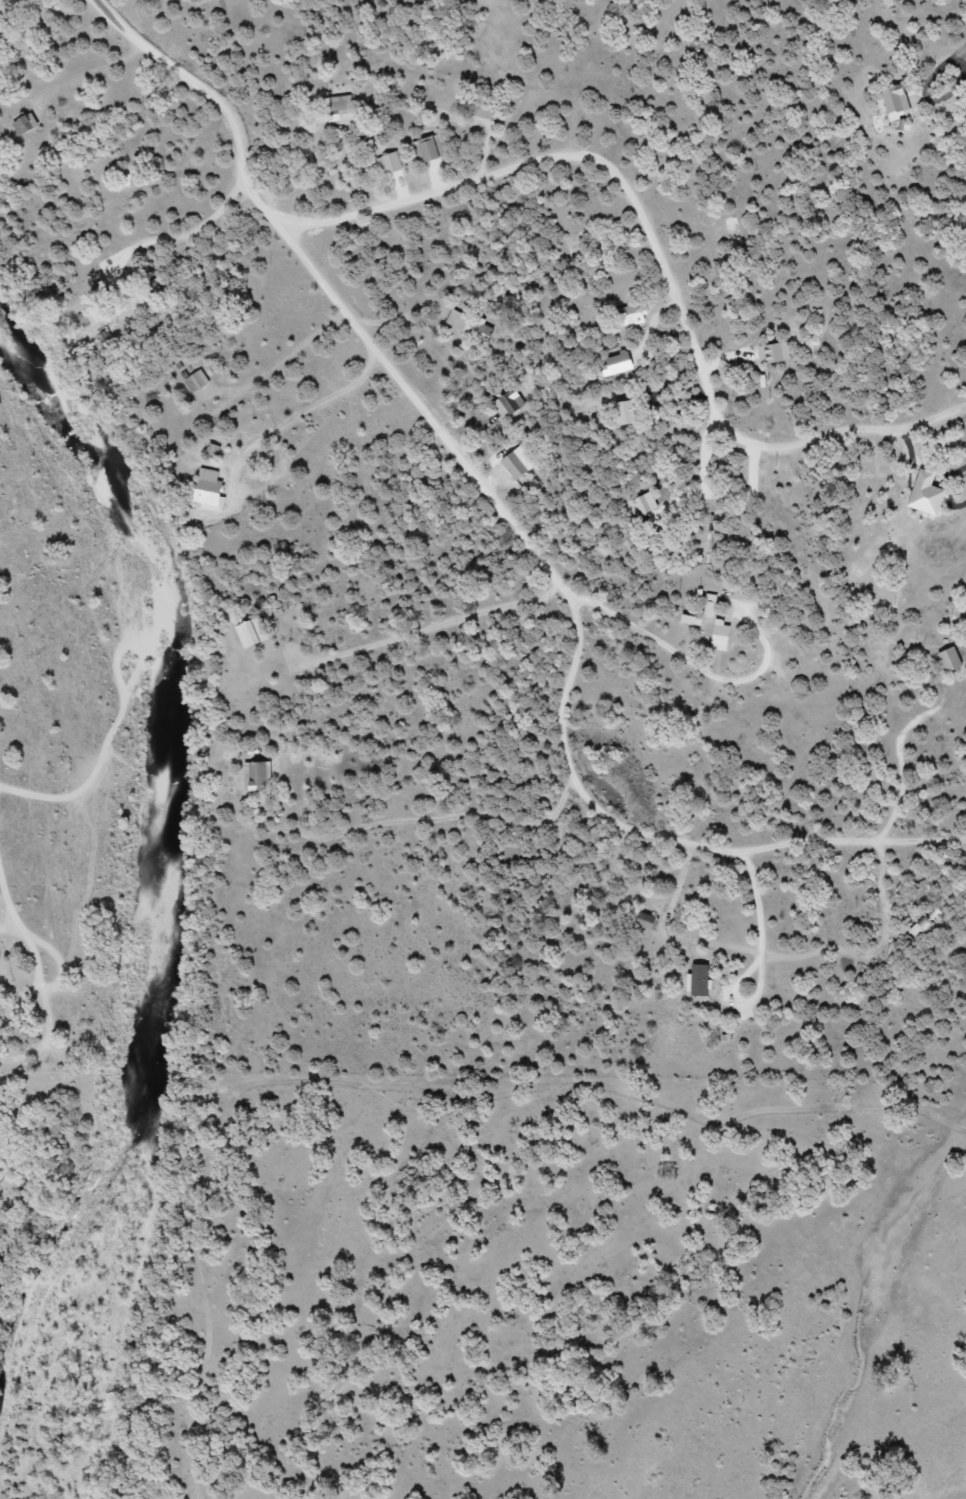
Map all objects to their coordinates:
road: (957, 14)
building: (342, 109)
building: (484, 110)
building: (25, 124)
building: (429, 149)
building: (392, 161)
building: (155, 293)
building: (631, 315)
building: (93, 318)
building: (471, 326)
road: (293, 355)
building: (197, 381)
building: (516, 465)
building: (209, 491)
building: (710, 605)
building: (253, 632)
building: (721, 636)
building: (951, 659)
building: (257, 776)
river: (145, 841)
building: (647, 921)
building: (925, 924)

